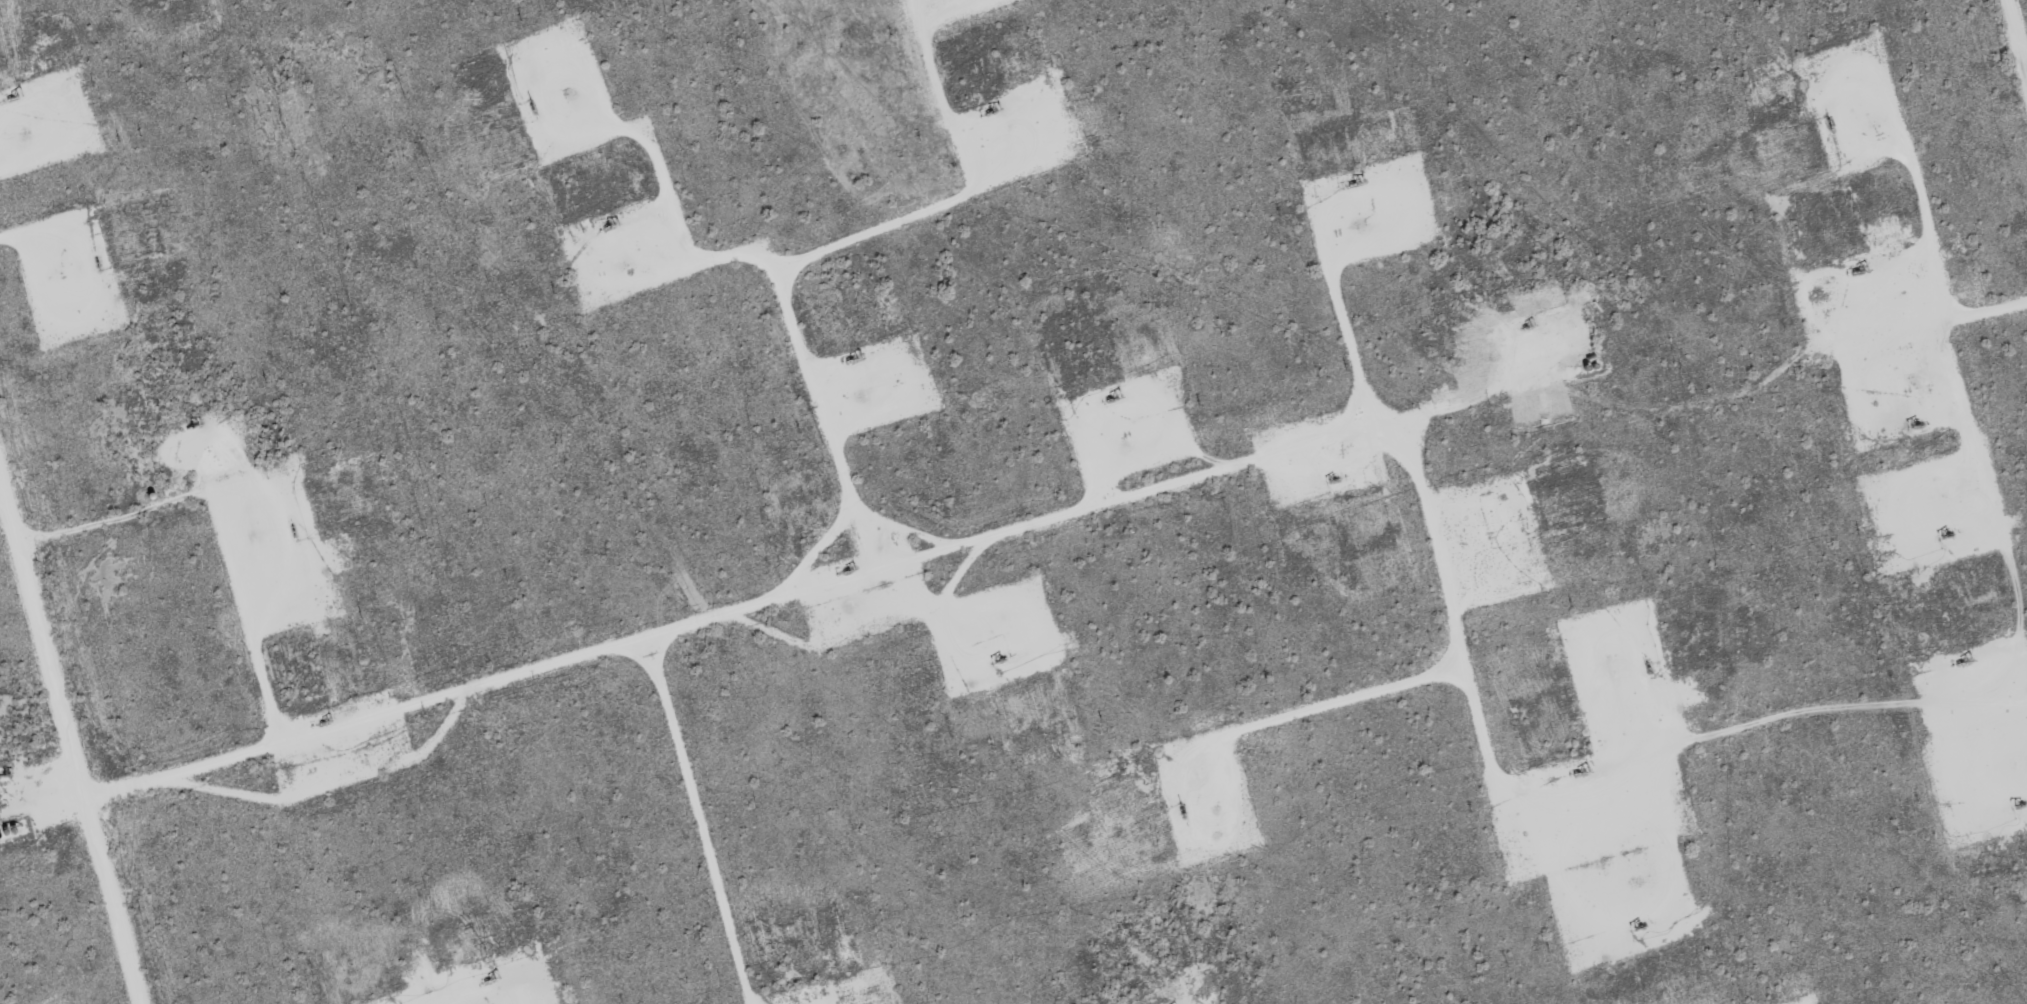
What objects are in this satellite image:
road: (2023, 13)
road: (67, 744)

